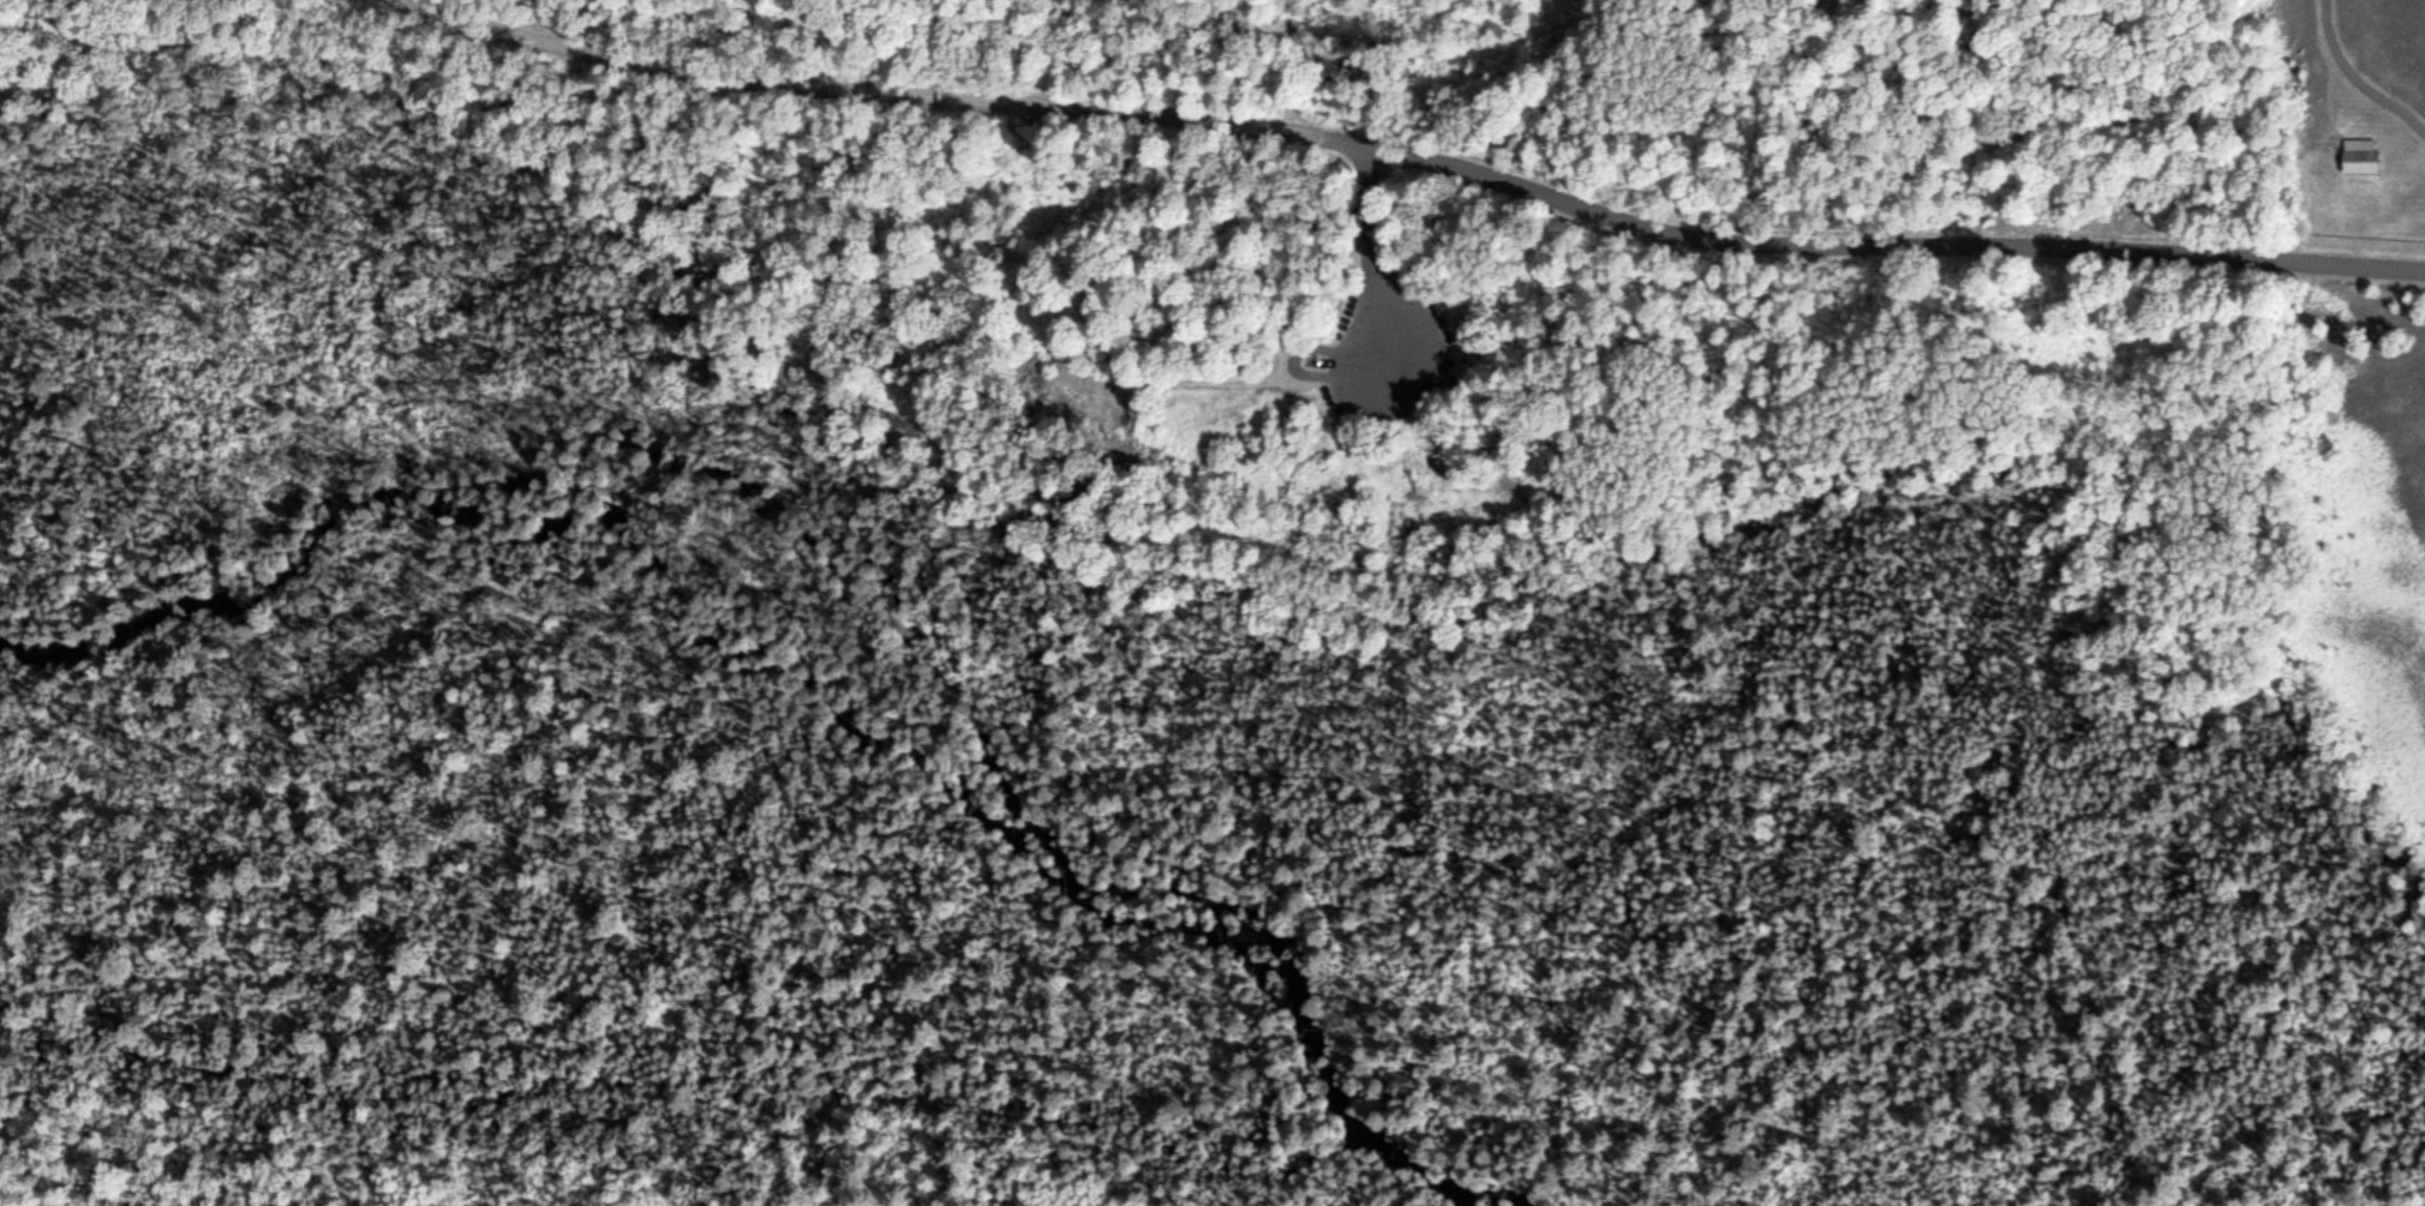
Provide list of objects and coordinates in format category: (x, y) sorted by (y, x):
road: (2340, 107)
road: (1405, 148)
building: (2359, 158)
river: (779, 659)
river: (1507, 1177)
river: (1455, 1195)

